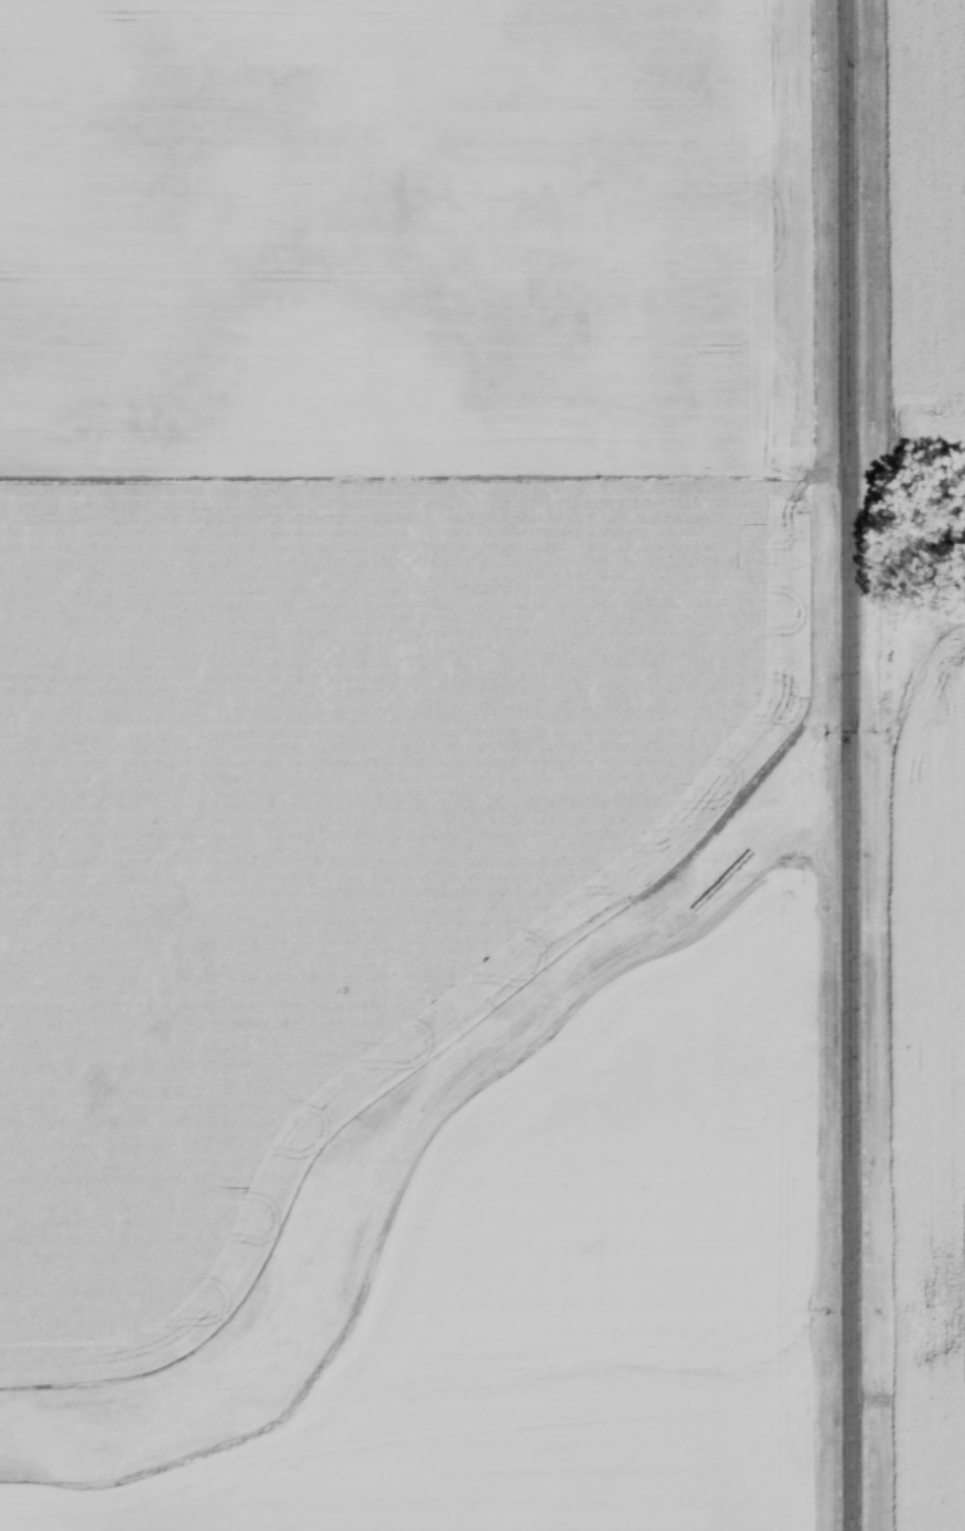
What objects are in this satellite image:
road: (879, 765)

